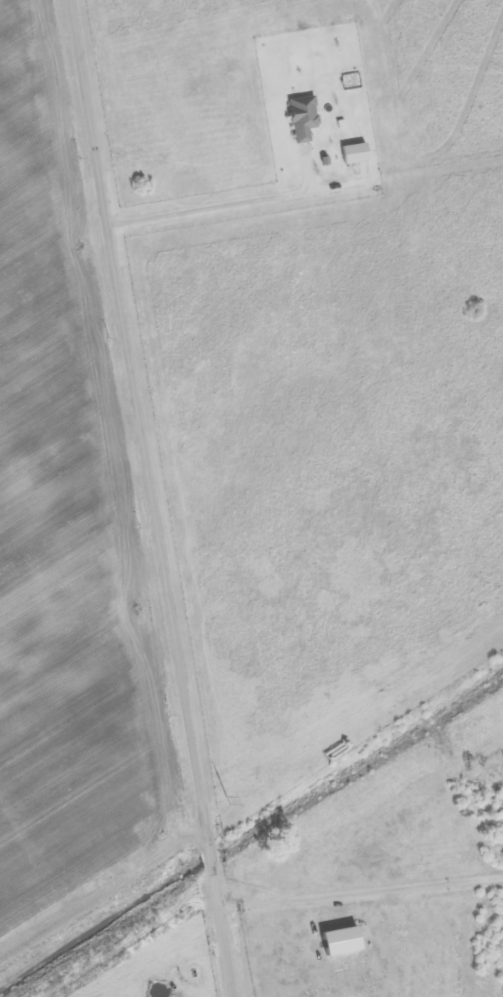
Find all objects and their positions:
building: (305, 117)
building: (357, 153)
road: (153, 498)
power tower: (264, 783)
road: (362, 891)

